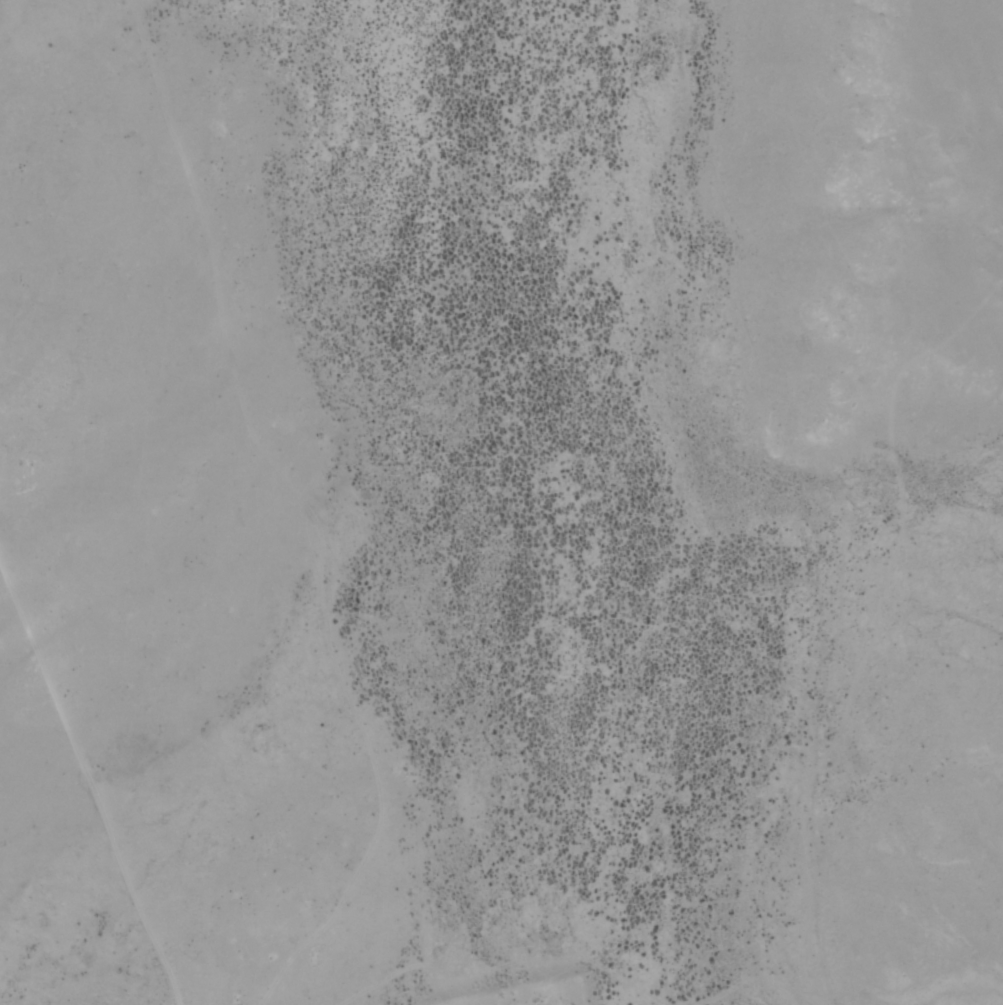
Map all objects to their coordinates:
road: (83, 789)

